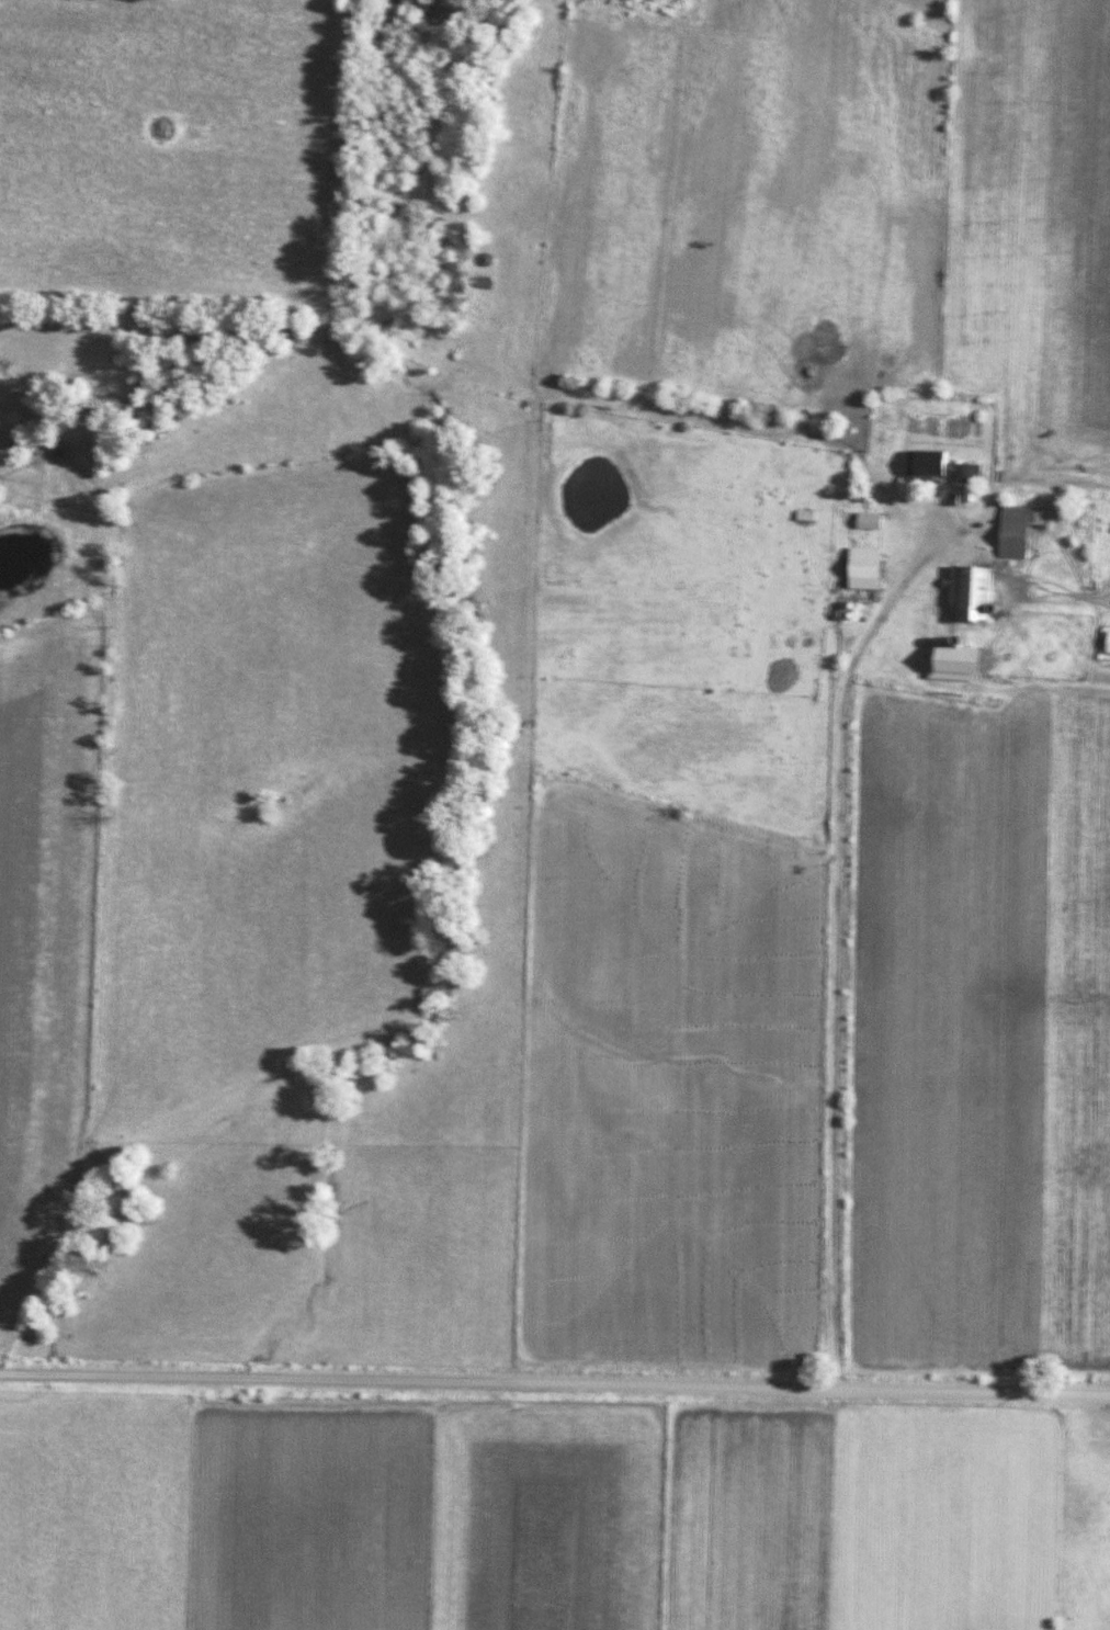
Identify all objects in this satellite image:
building: (941, 467)
building: (829, 496)
building: (806, 516)
building: (869, 520)
building: (863, 568)
building: (967, 595)
building: (953, 665)
road: (837, 951)
road: (554, 1386)

